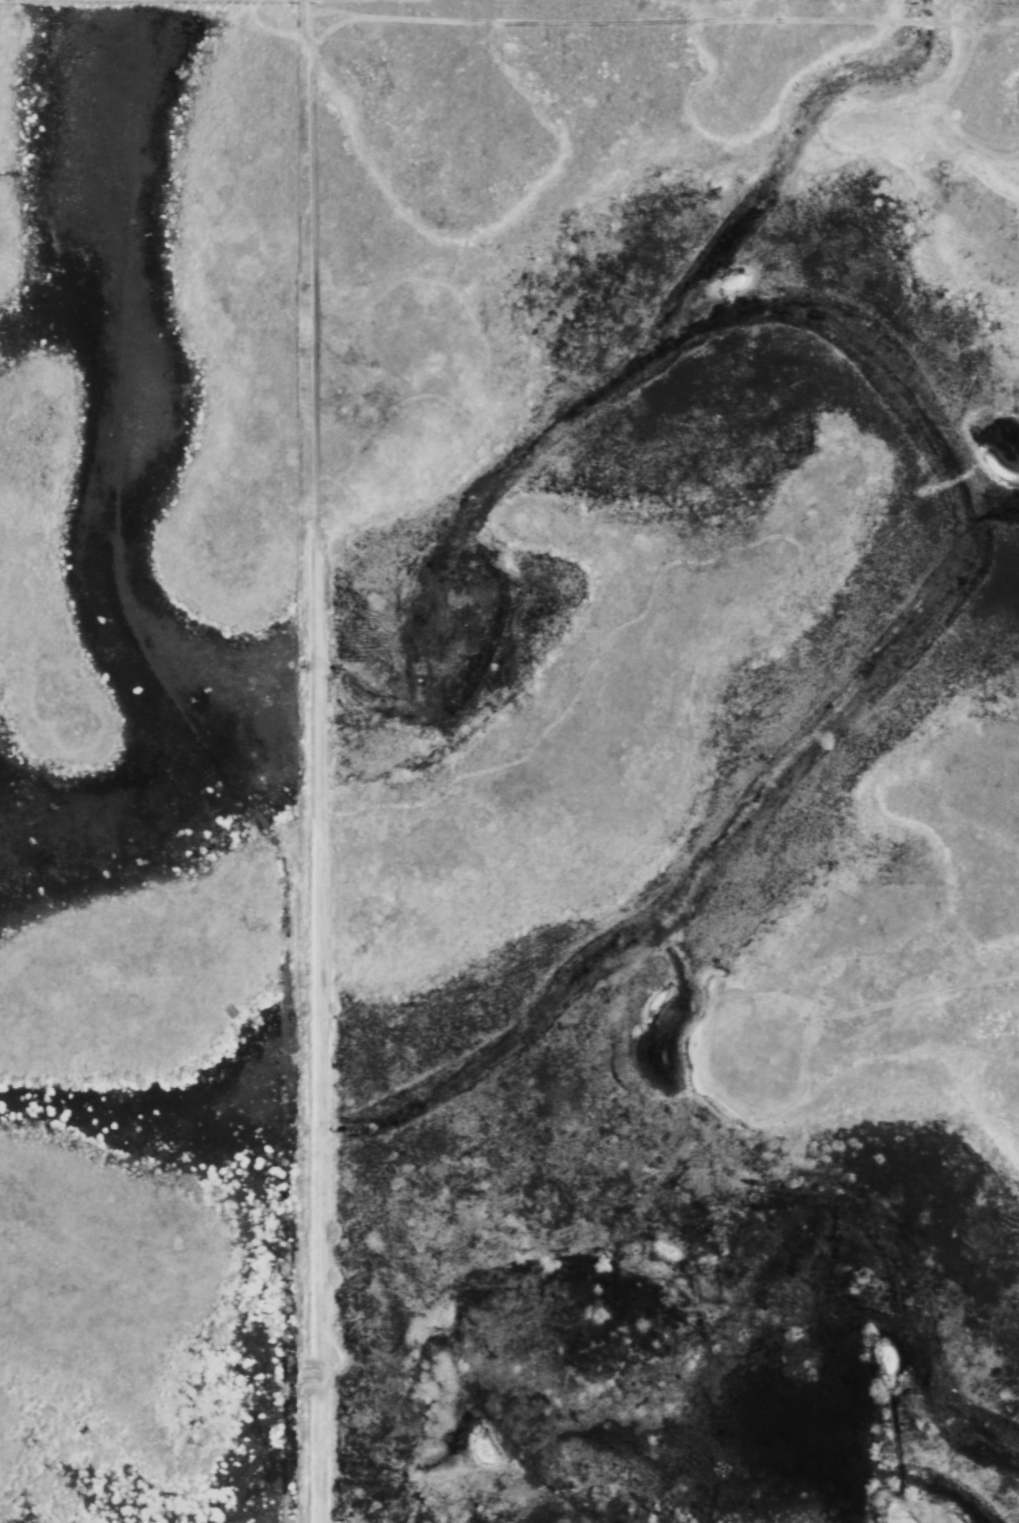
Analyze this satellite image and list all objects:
crop: (459, 683)

